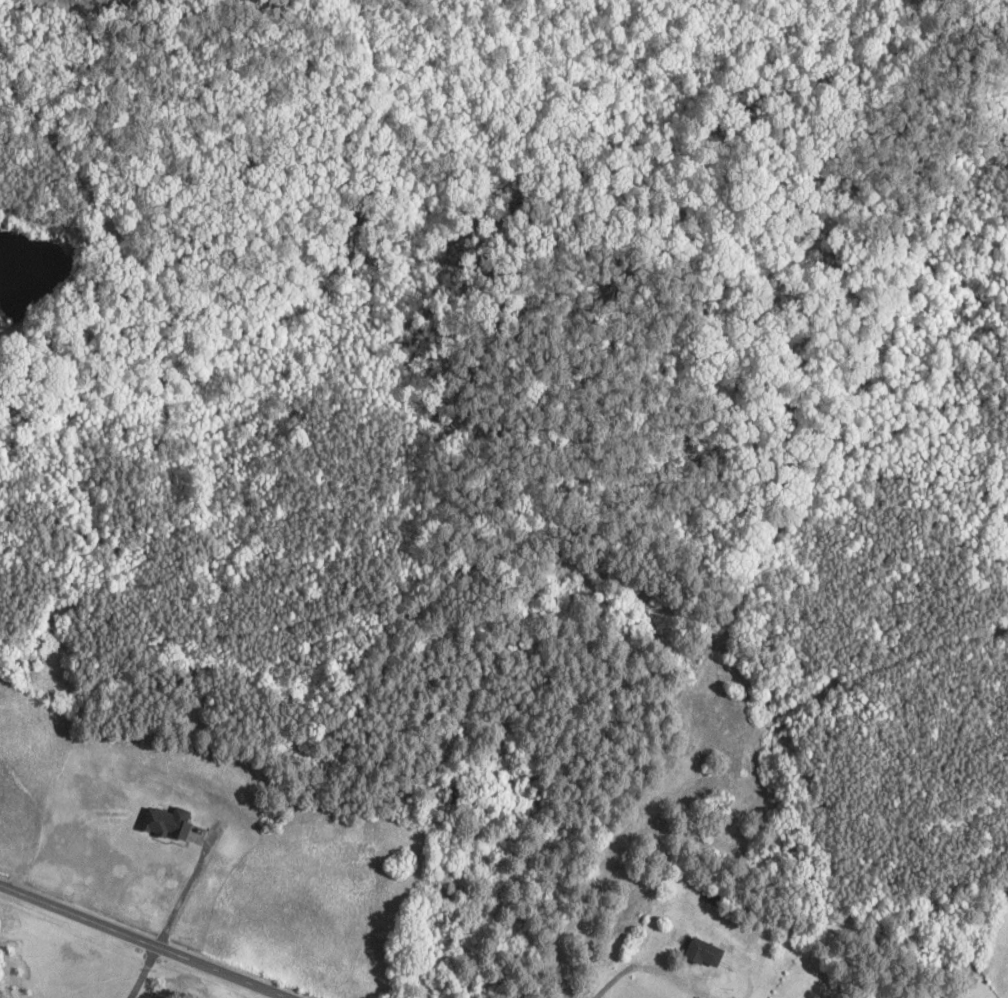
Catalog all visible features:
building: (168, 823)
building: (1006, 899)
road: (160, 933)
building: (704, 953)

